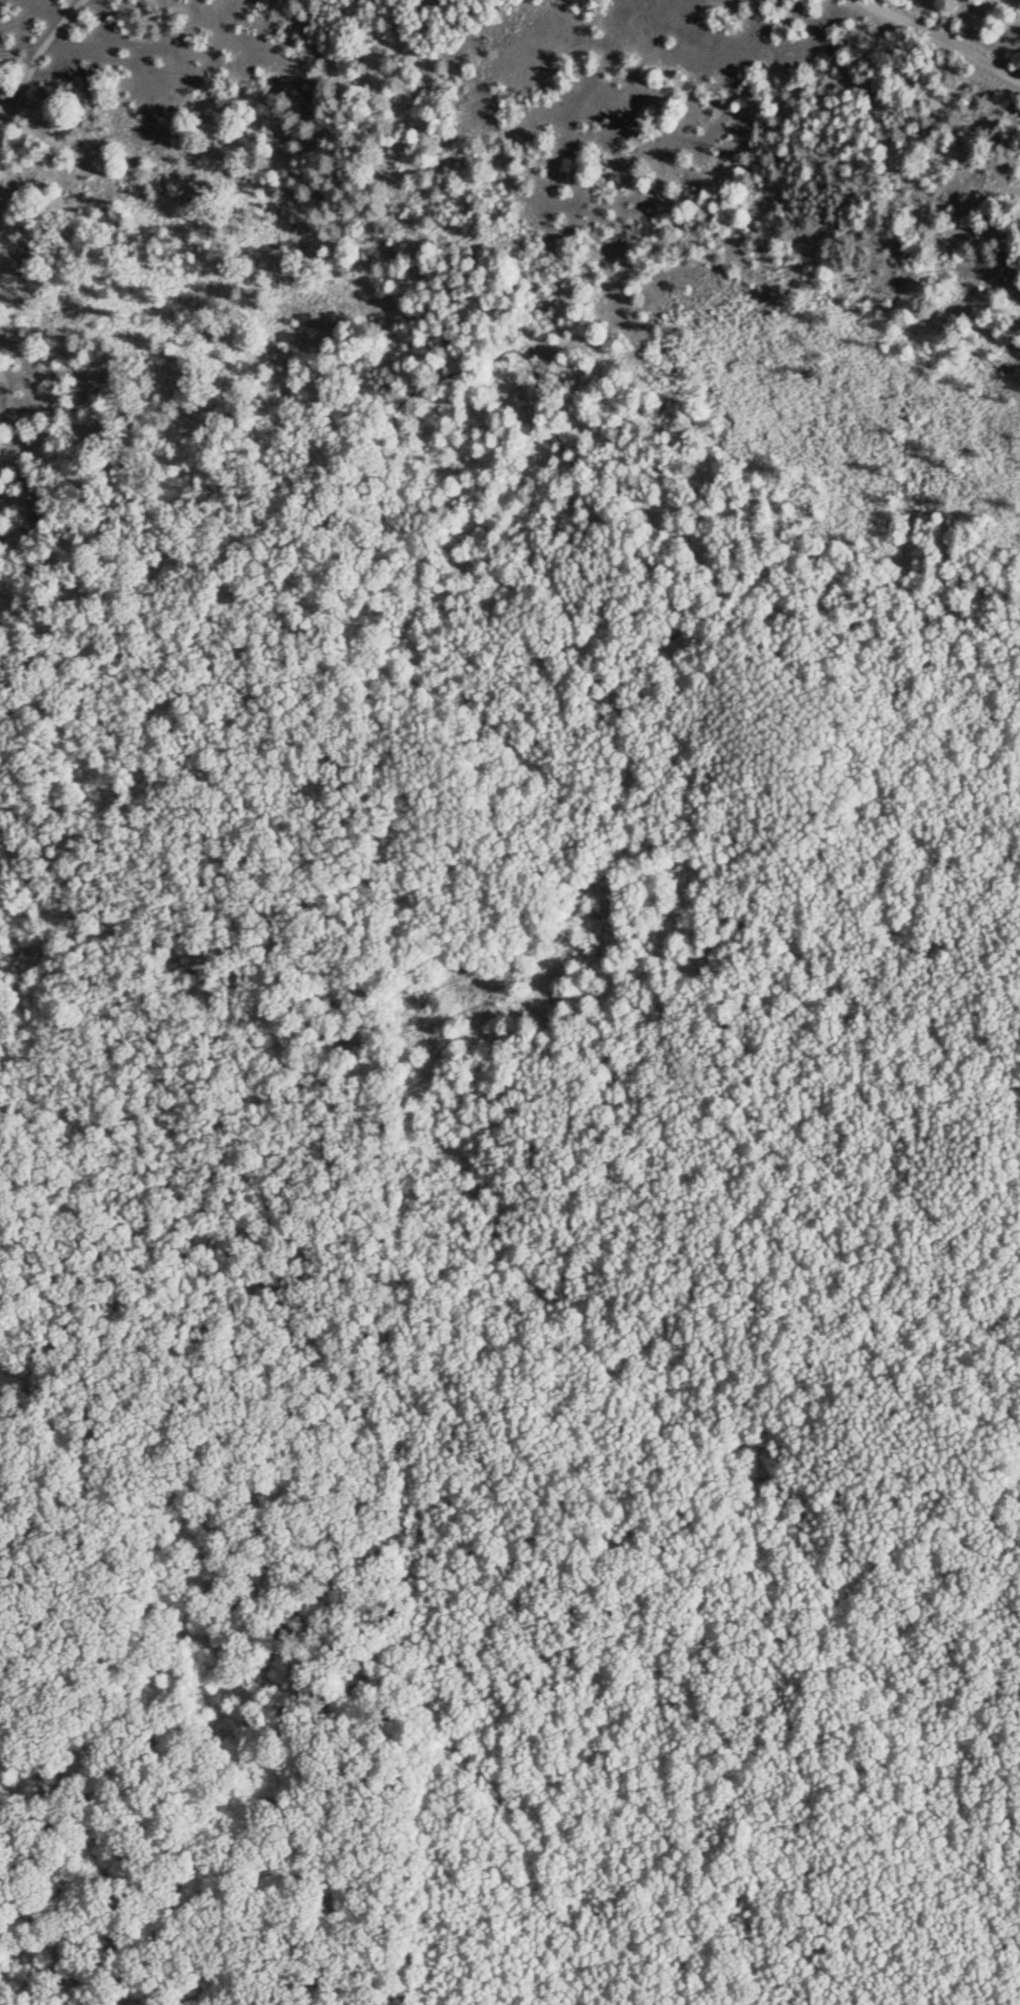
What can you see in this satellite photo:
road: (946, 38)
road: (40, 55)
road: (428, 396)
road: (10, 447)
road: (166, 956)
road: (833, 1549)

